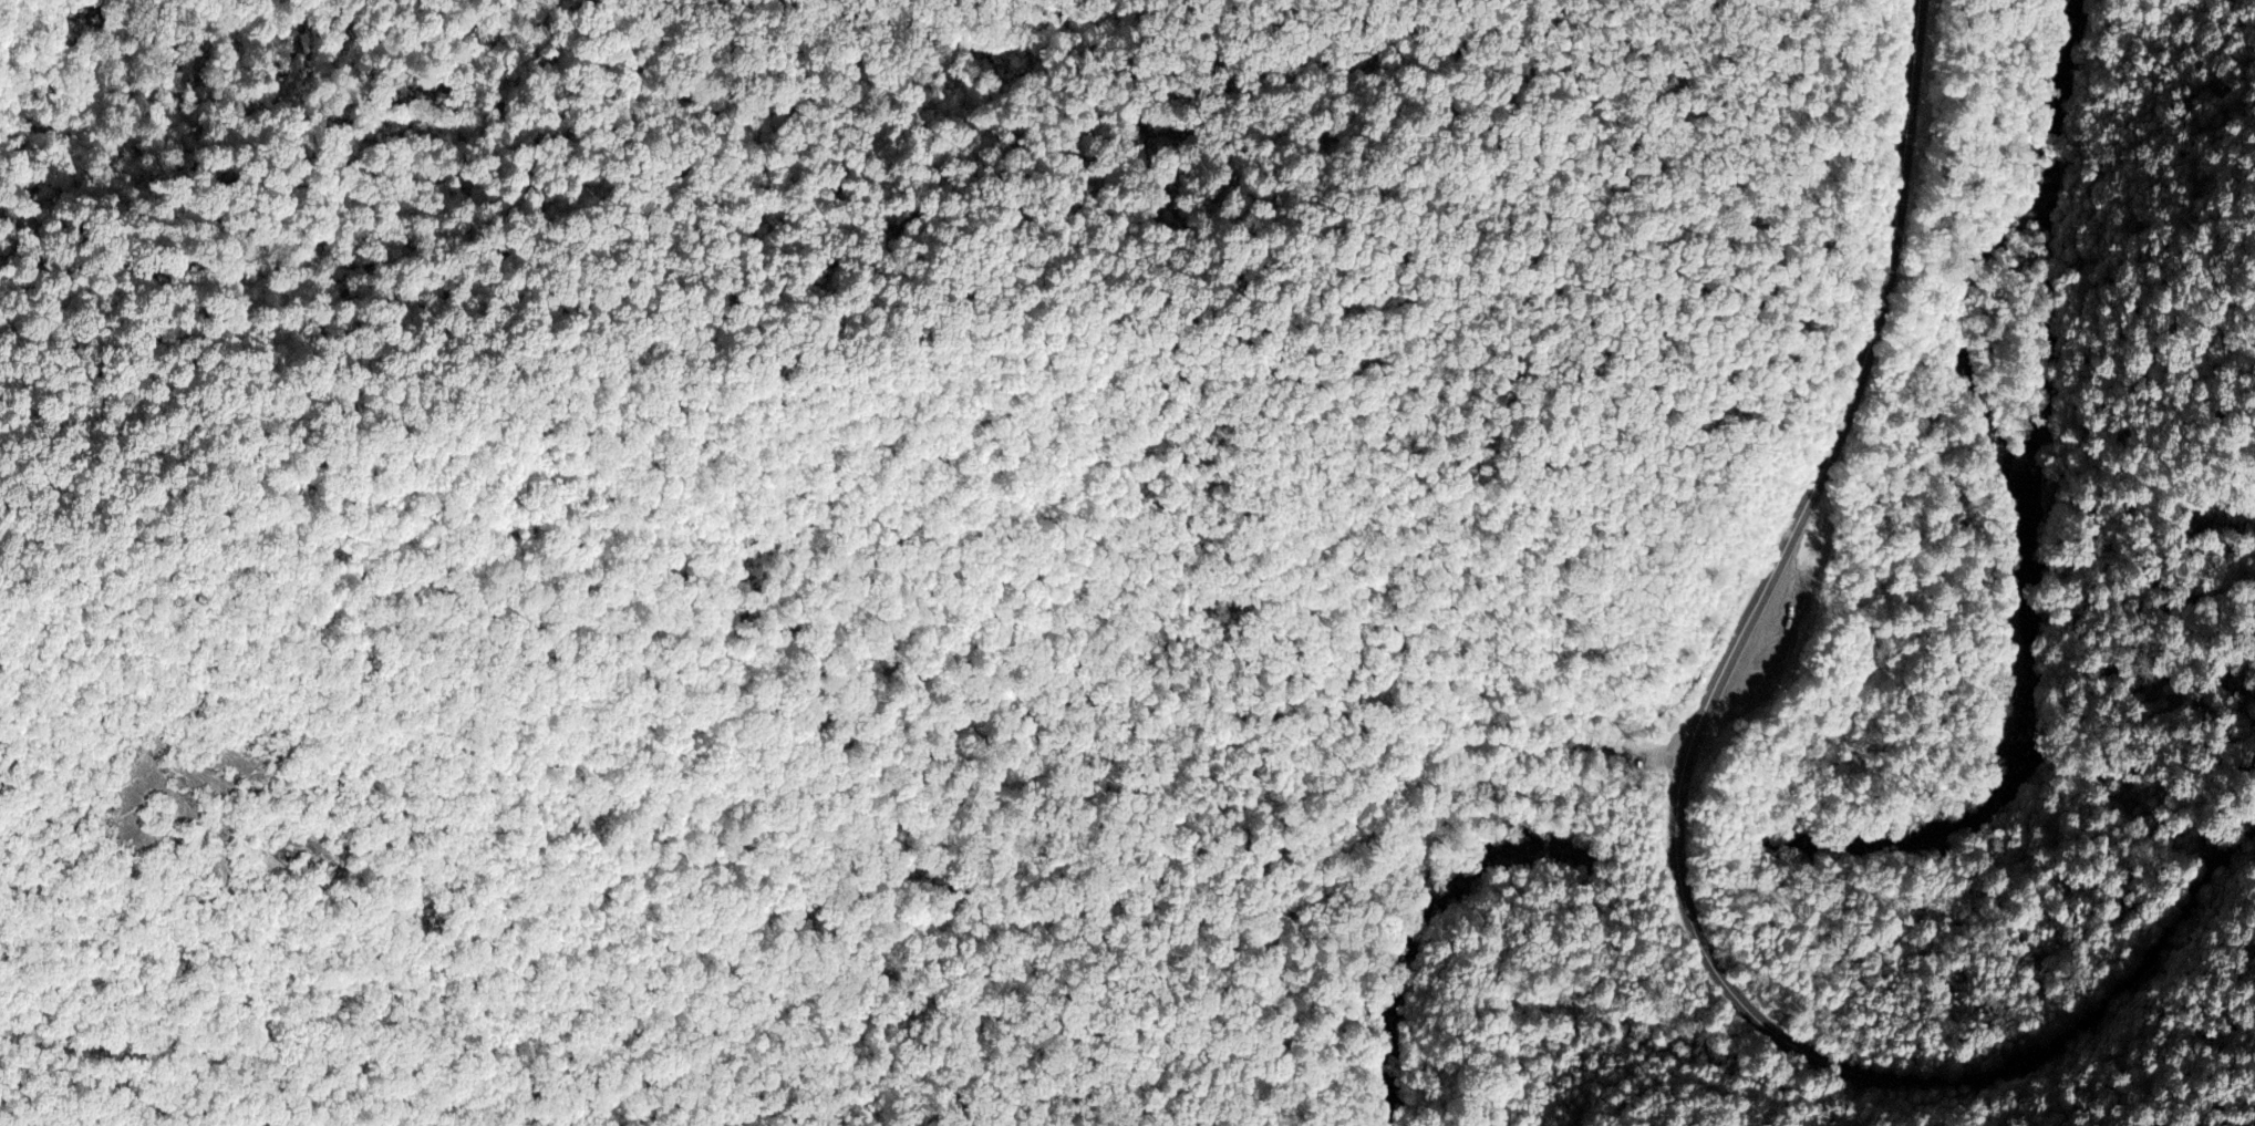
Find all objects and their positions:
river: (2060, 164)
river: (2048, 339)
river: (2035, 668)
road: (1621, 748)
parking lot: (1628, 754)
road: (1676, 809)
river: (1687, 843)
road: (1318, 855)
river: (1424, 919)
road: (1680, 1066)

